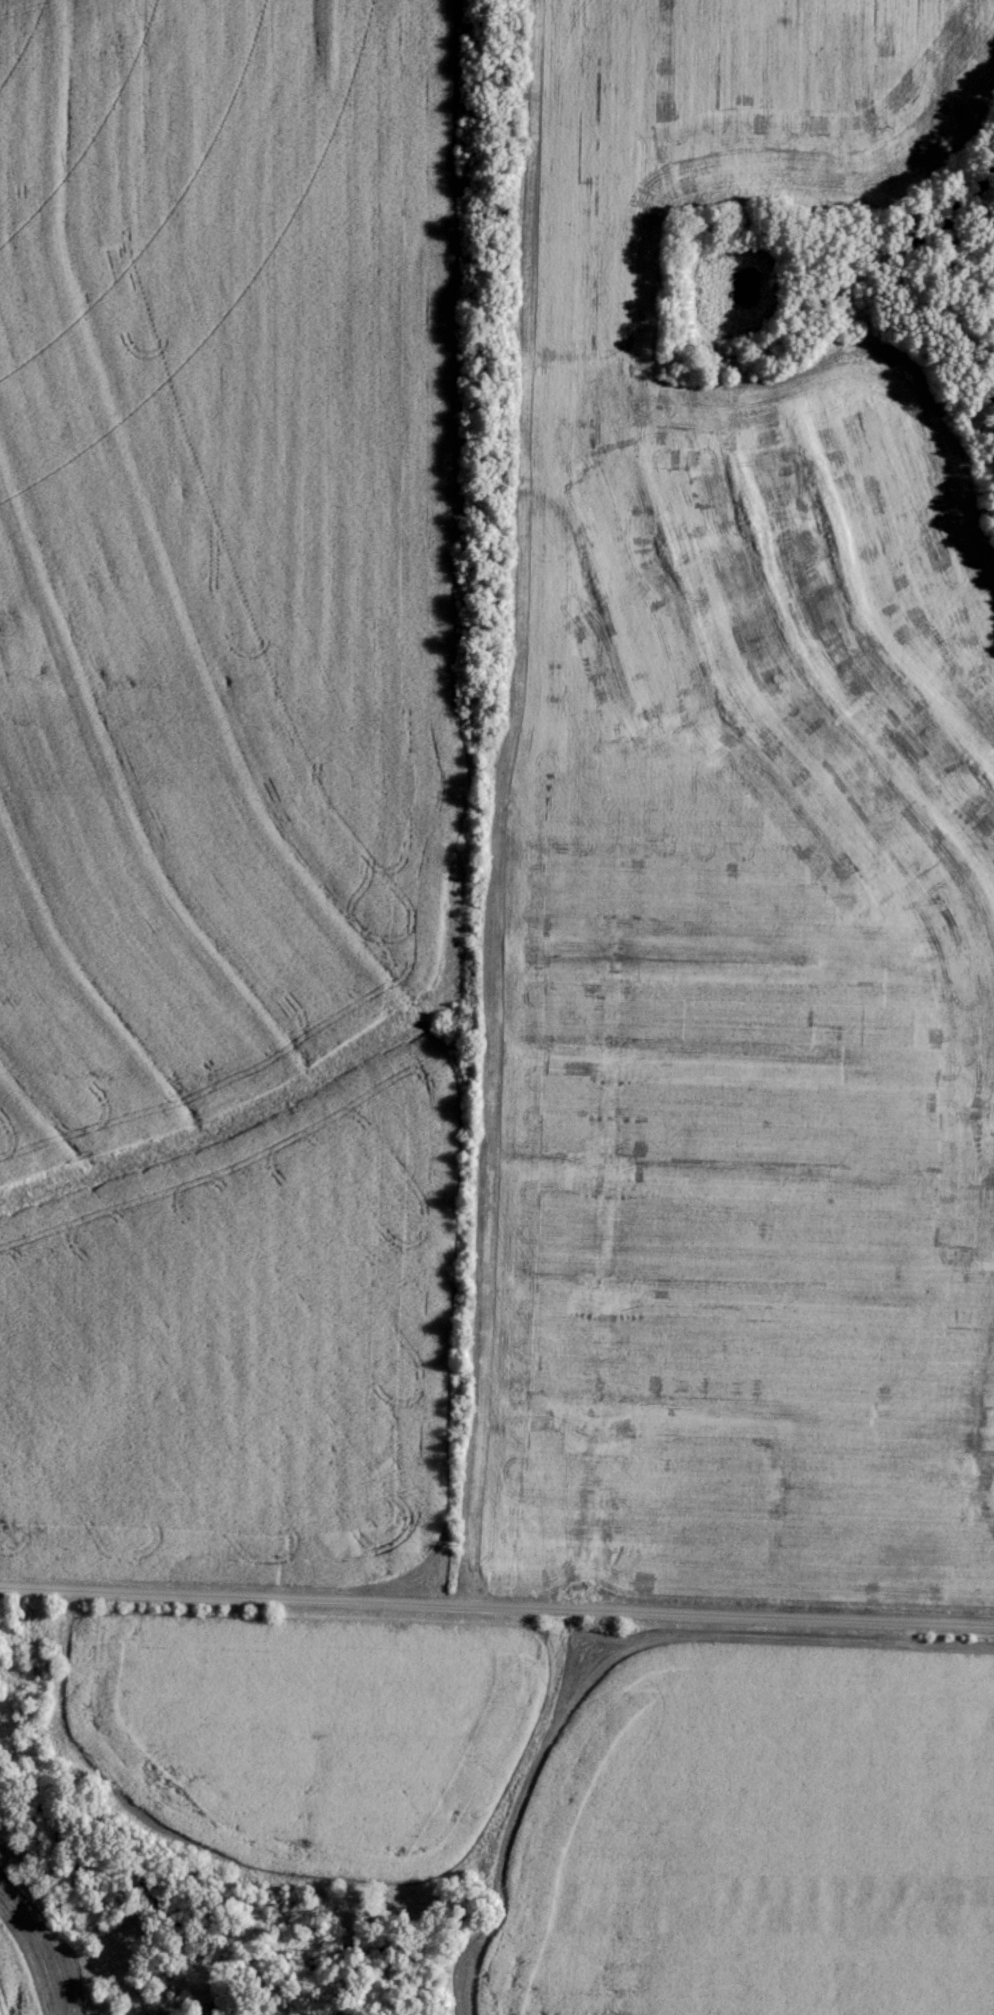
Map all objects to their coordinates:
road: (496, 1606)

